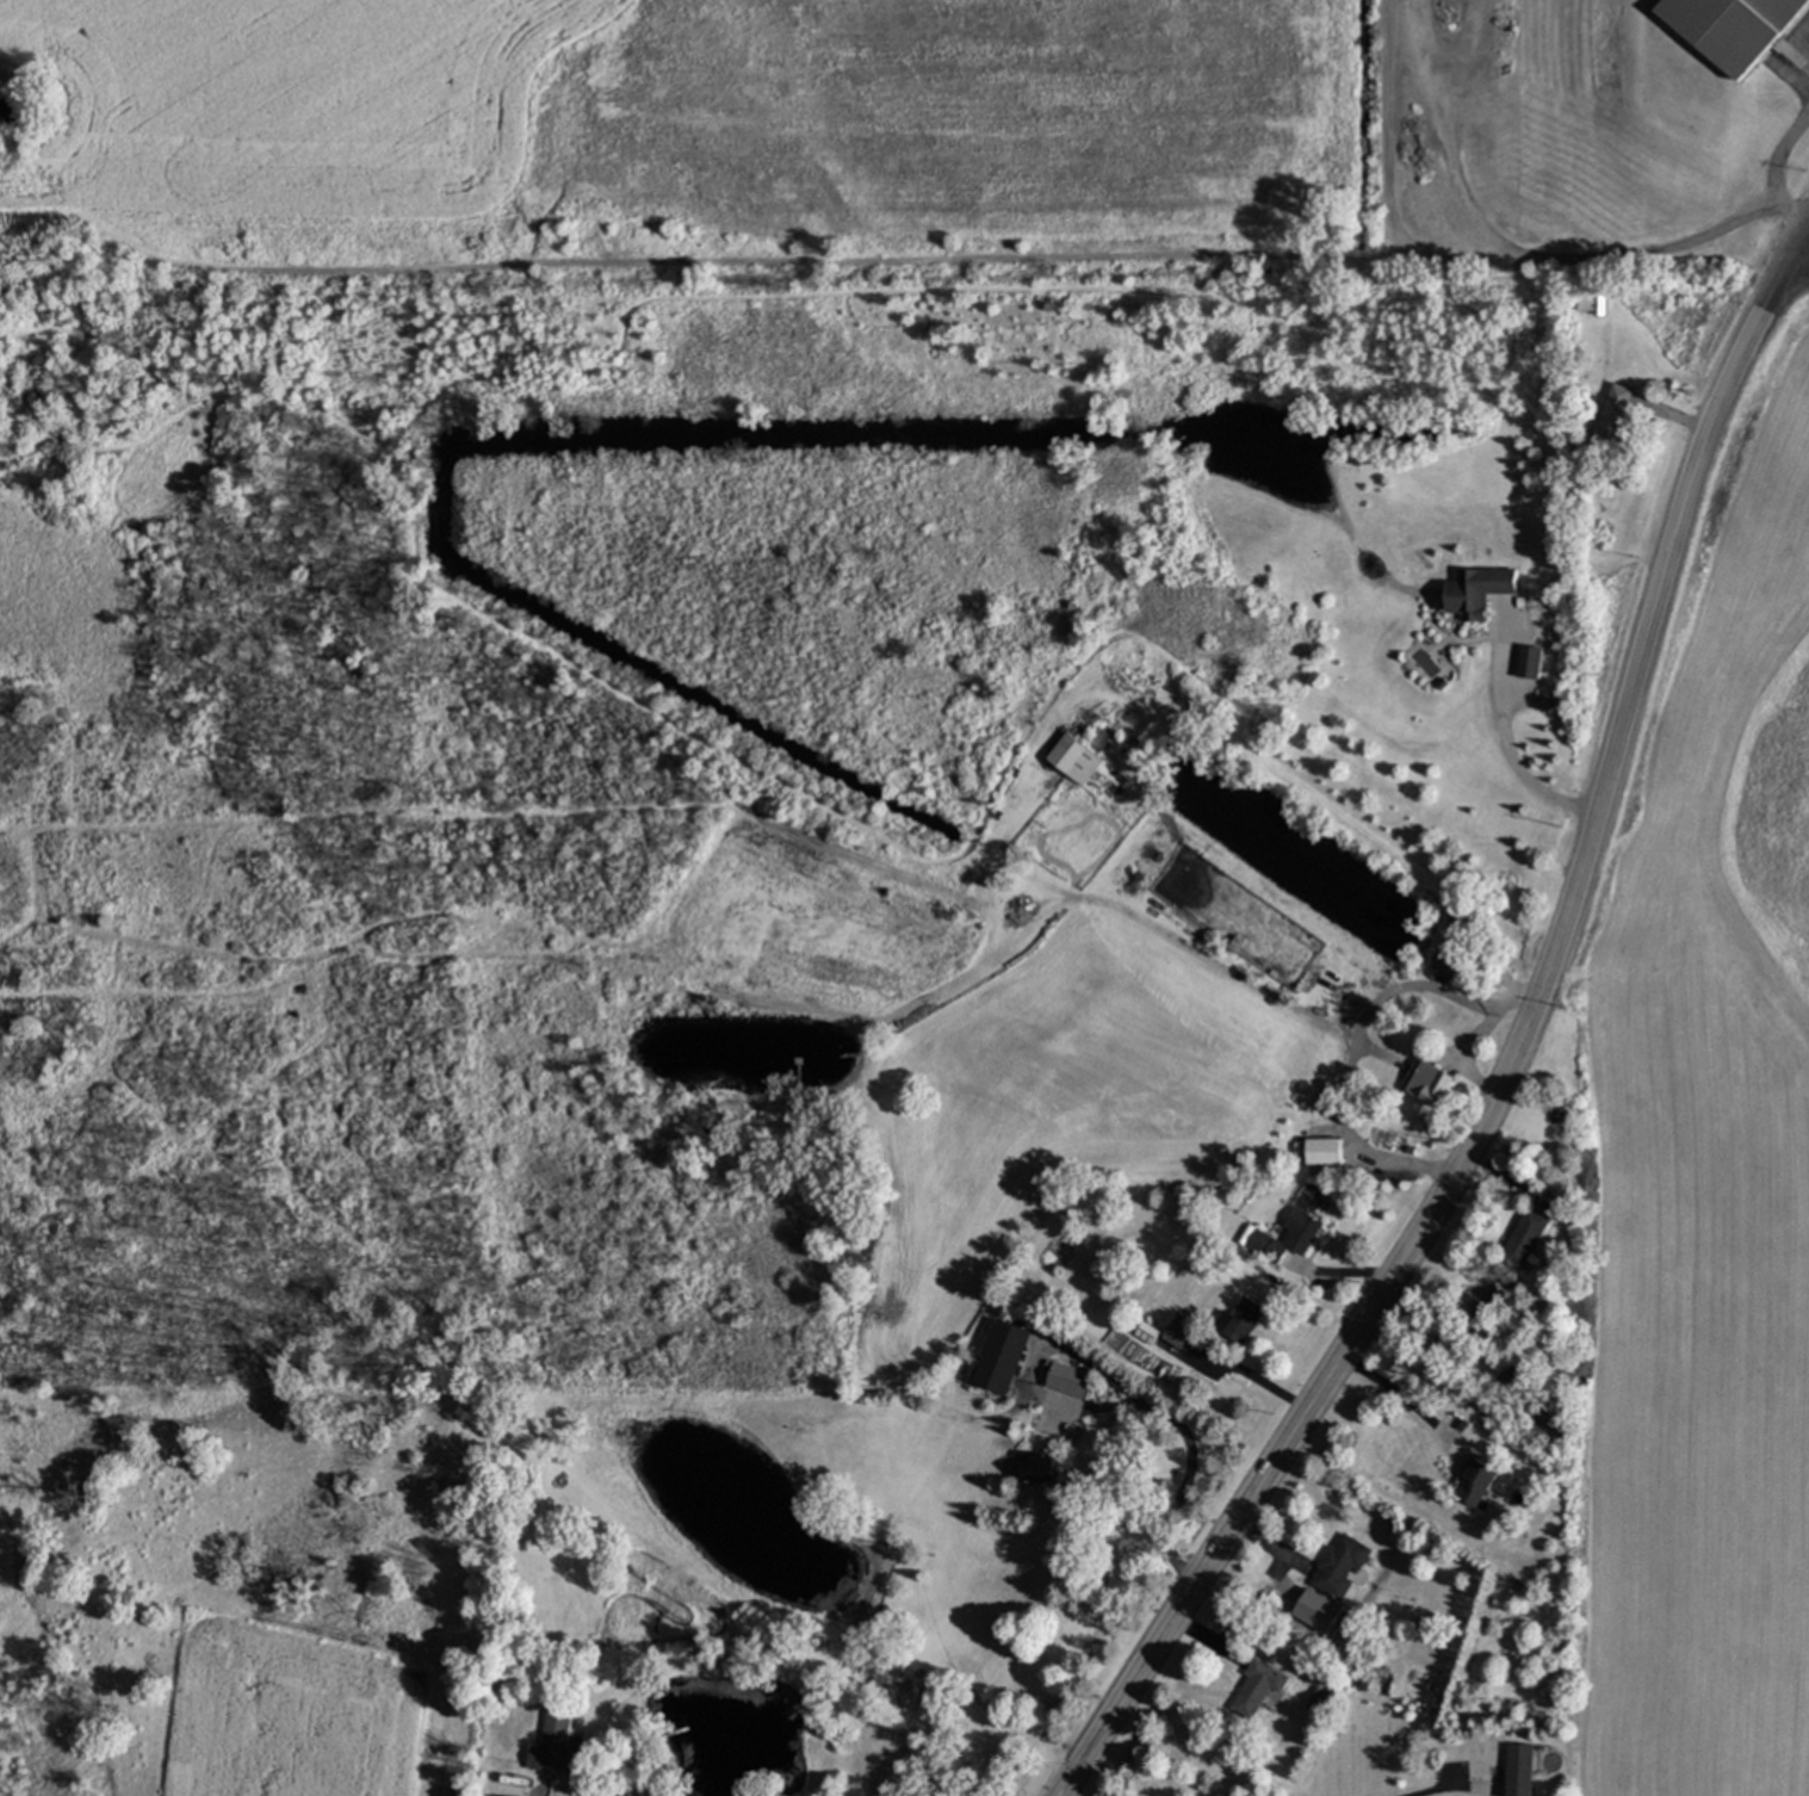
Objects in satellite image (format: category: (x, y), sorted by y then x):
building: (1735, 26)
airport: (1579, 128)
road: (1778, 176)
road: (1802, 246)
road: (1803, 259)
building: (1618, 411)
building: (1480, 590)
building: (1531, 661)
road: (1504, 735)
building: (1102, 739)
building: (1077, 758)
road: (1361, 1032)
road: (1472, 1058)
road: (1516, 1065)
building: (1433, 1083)
building: (1303, 1230)
building: (1525, 1238)
building: (1269, 1246)
building: (1243, 1319)
building: (1178, 1333)
building: (1005, 1356)
building: (1072, 1379)
road: (1405, 1394)
road: (1244, 1436)
building: (1040, 1467)
building: (1476, 1481)
building: (1342, 1565)
building: (1318, 1610)
road: (539, 1627)
building: (1258, 1687)
building: (555, 1741)
building: (1520, 1770)
road: (1429, 1790)

